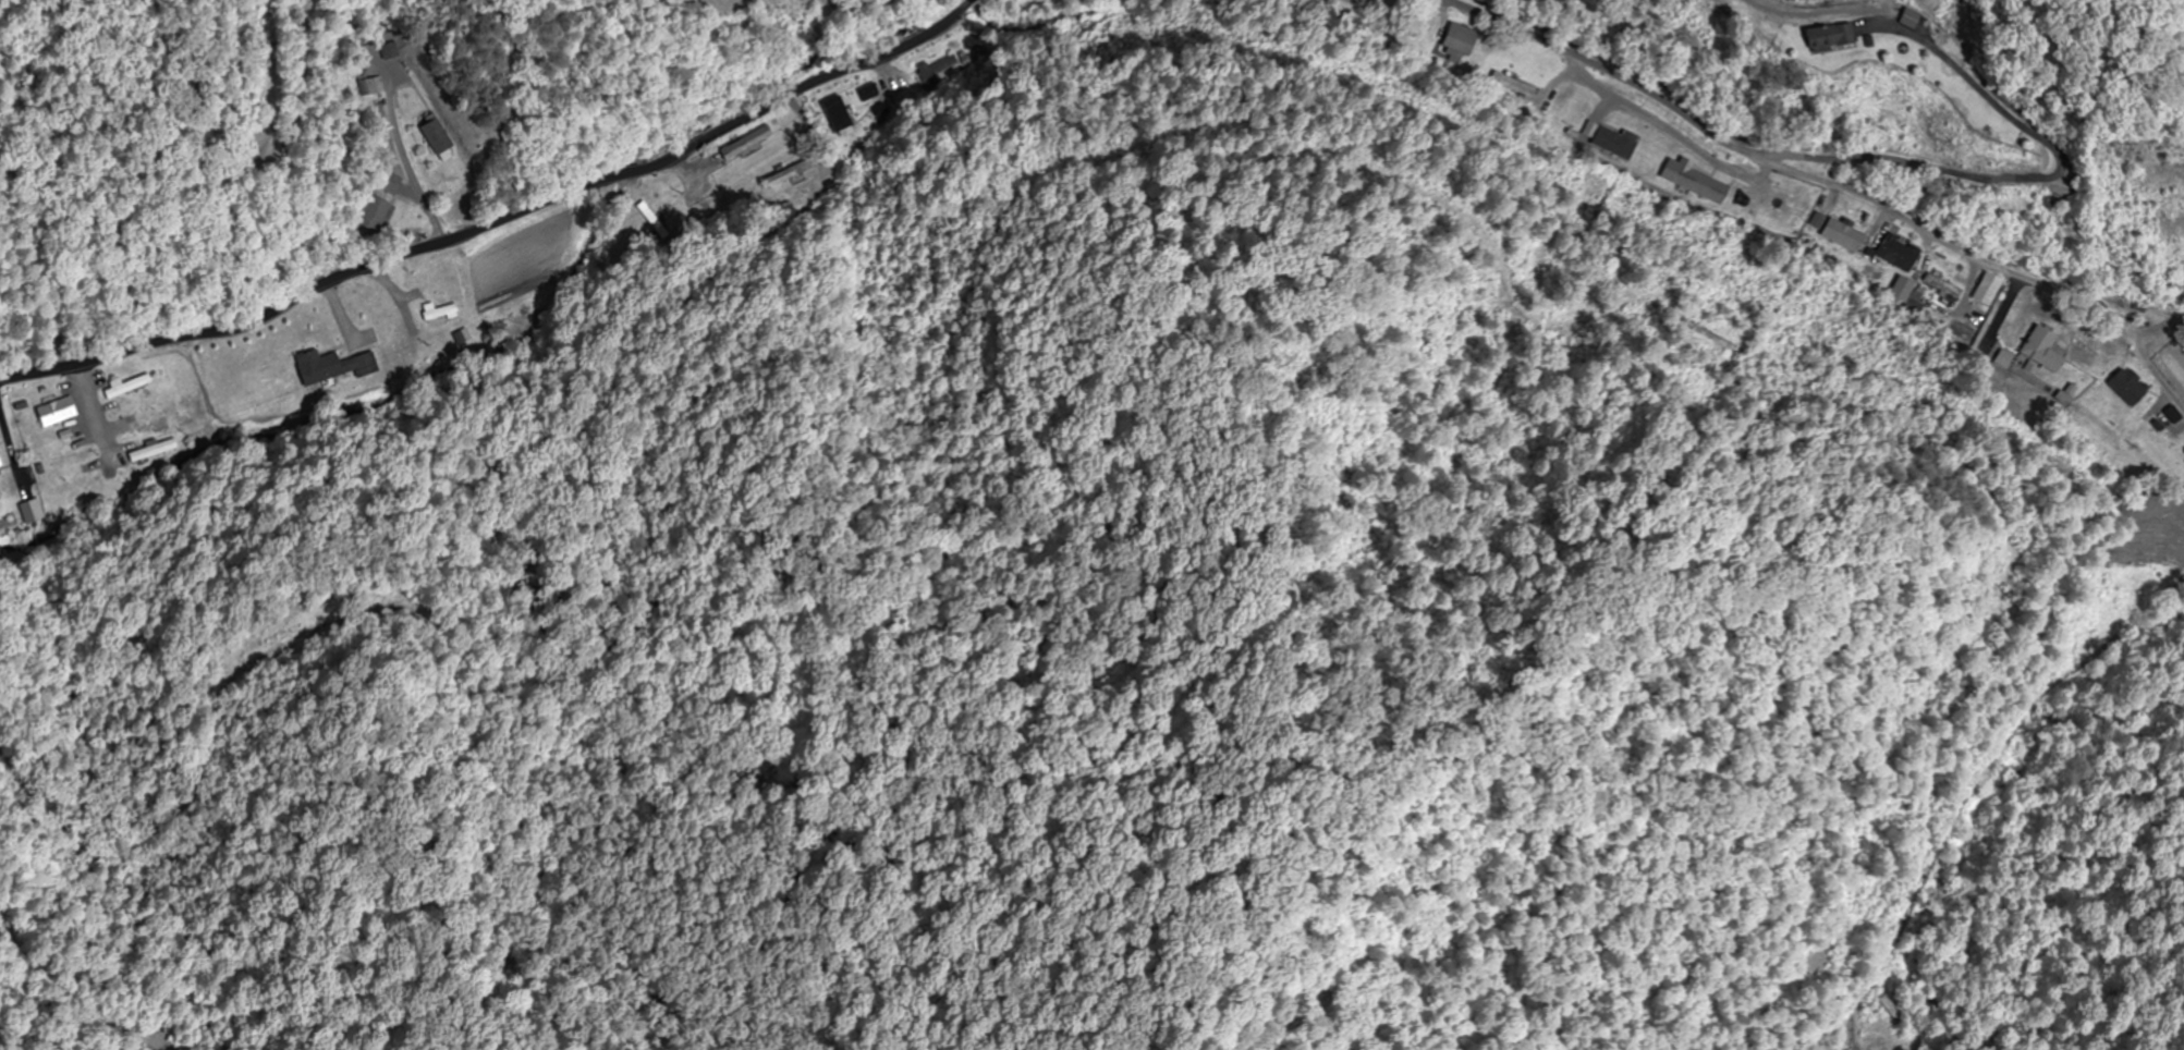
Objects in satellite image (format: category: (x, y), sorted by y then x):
building: (1906, 19)
building: (1818, 36)
building: (1460, 41)
building: (392, 50)
building: (935, 72)
building: (373, 86)
building: (1516, 86)
building: (868, 93)
building: (856, 118)
building: (432, 139)
building: (744, 143)
building: (1686, 178)
building: (389, 183)
road: (1835, 187)
building: (368, 216)
road: (496, 219)
building: (670, 221)
building: (1838, 232)
building: (1899, 254)
building: (1943, 286)
building: (1987, 289)
building: (437, 314)
road: (2161, 322)
building: (2043, 350)
building: (331, 367)
building: (124, 388)
building: (2126, 388)
building: (132, 410)
building: (53, 413)
building: (2168, 420)
building: (143, 429)
building: (69, 460)
building: (33, 511)
building: (1990, 567)
building: (1890, 1012)

